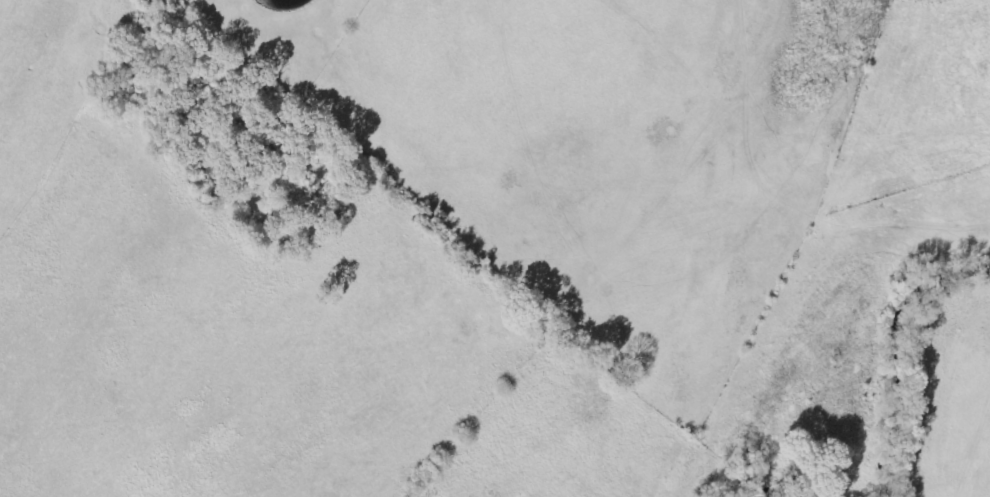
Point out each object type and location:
road: (599, 220)

